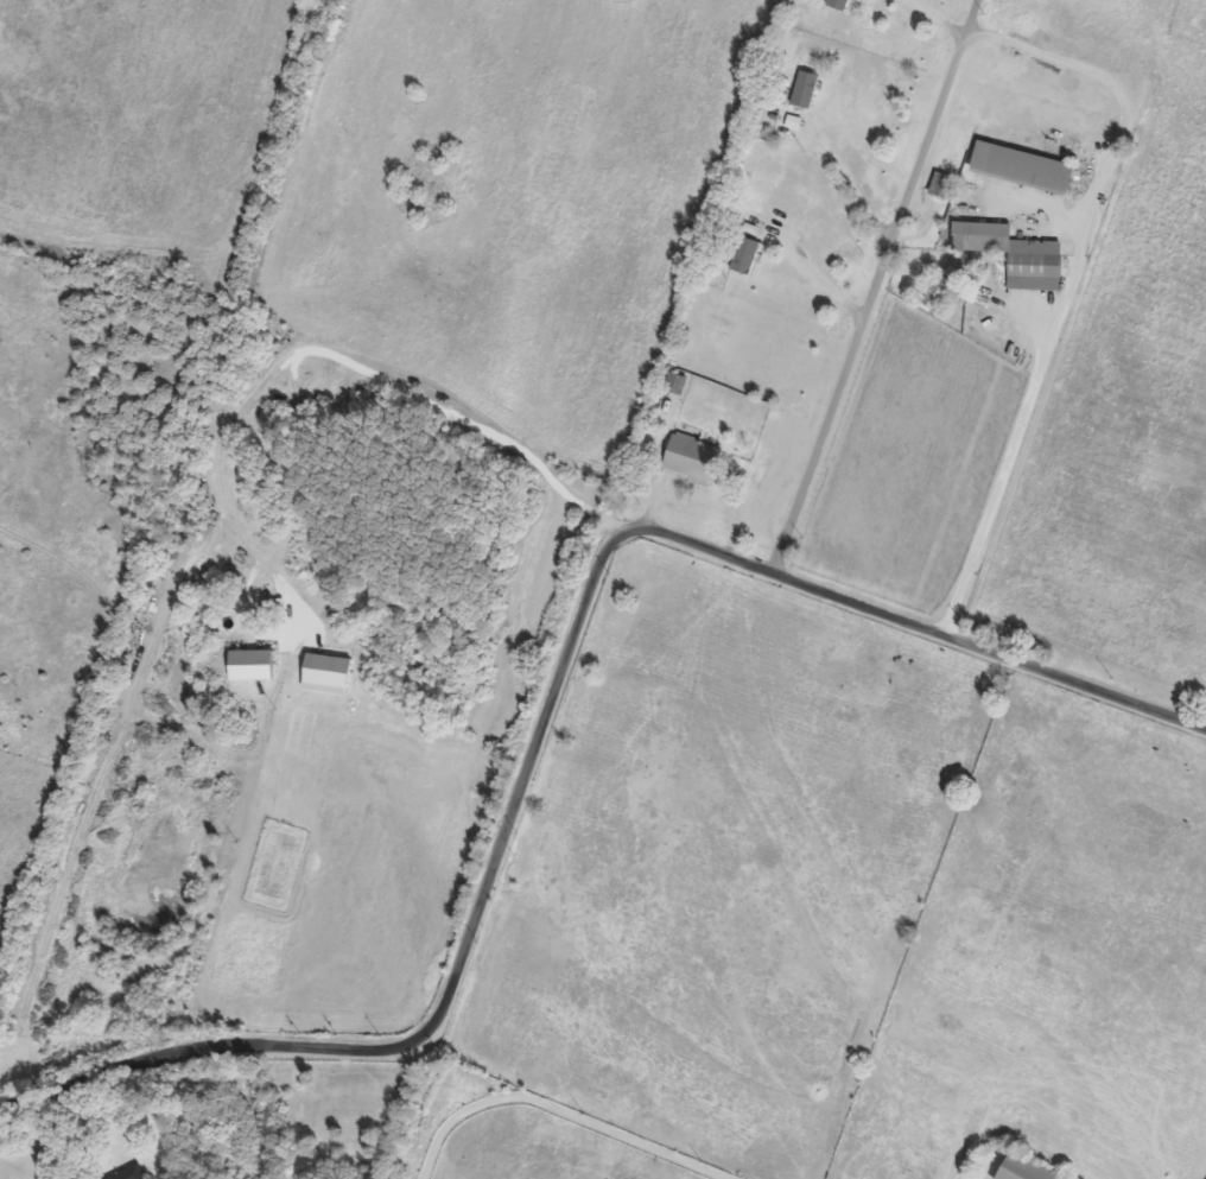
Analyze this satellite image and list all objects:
building: (834, 4)
road: (931, 18)
building: (801, 88)
building: (1017, 166)
building: (935, 183)
building: (977, 235)
building: (742, 254)
building: (1030, 264)
road: (811, 278)
road: (1064, 285)
road: (870, 289)
road: (324, 351)
building: (686, 456)
building: (246, 664)
building: (322, 673)
road: (551, 696)
building: (1020, 1170)
building: (126, 1173)

